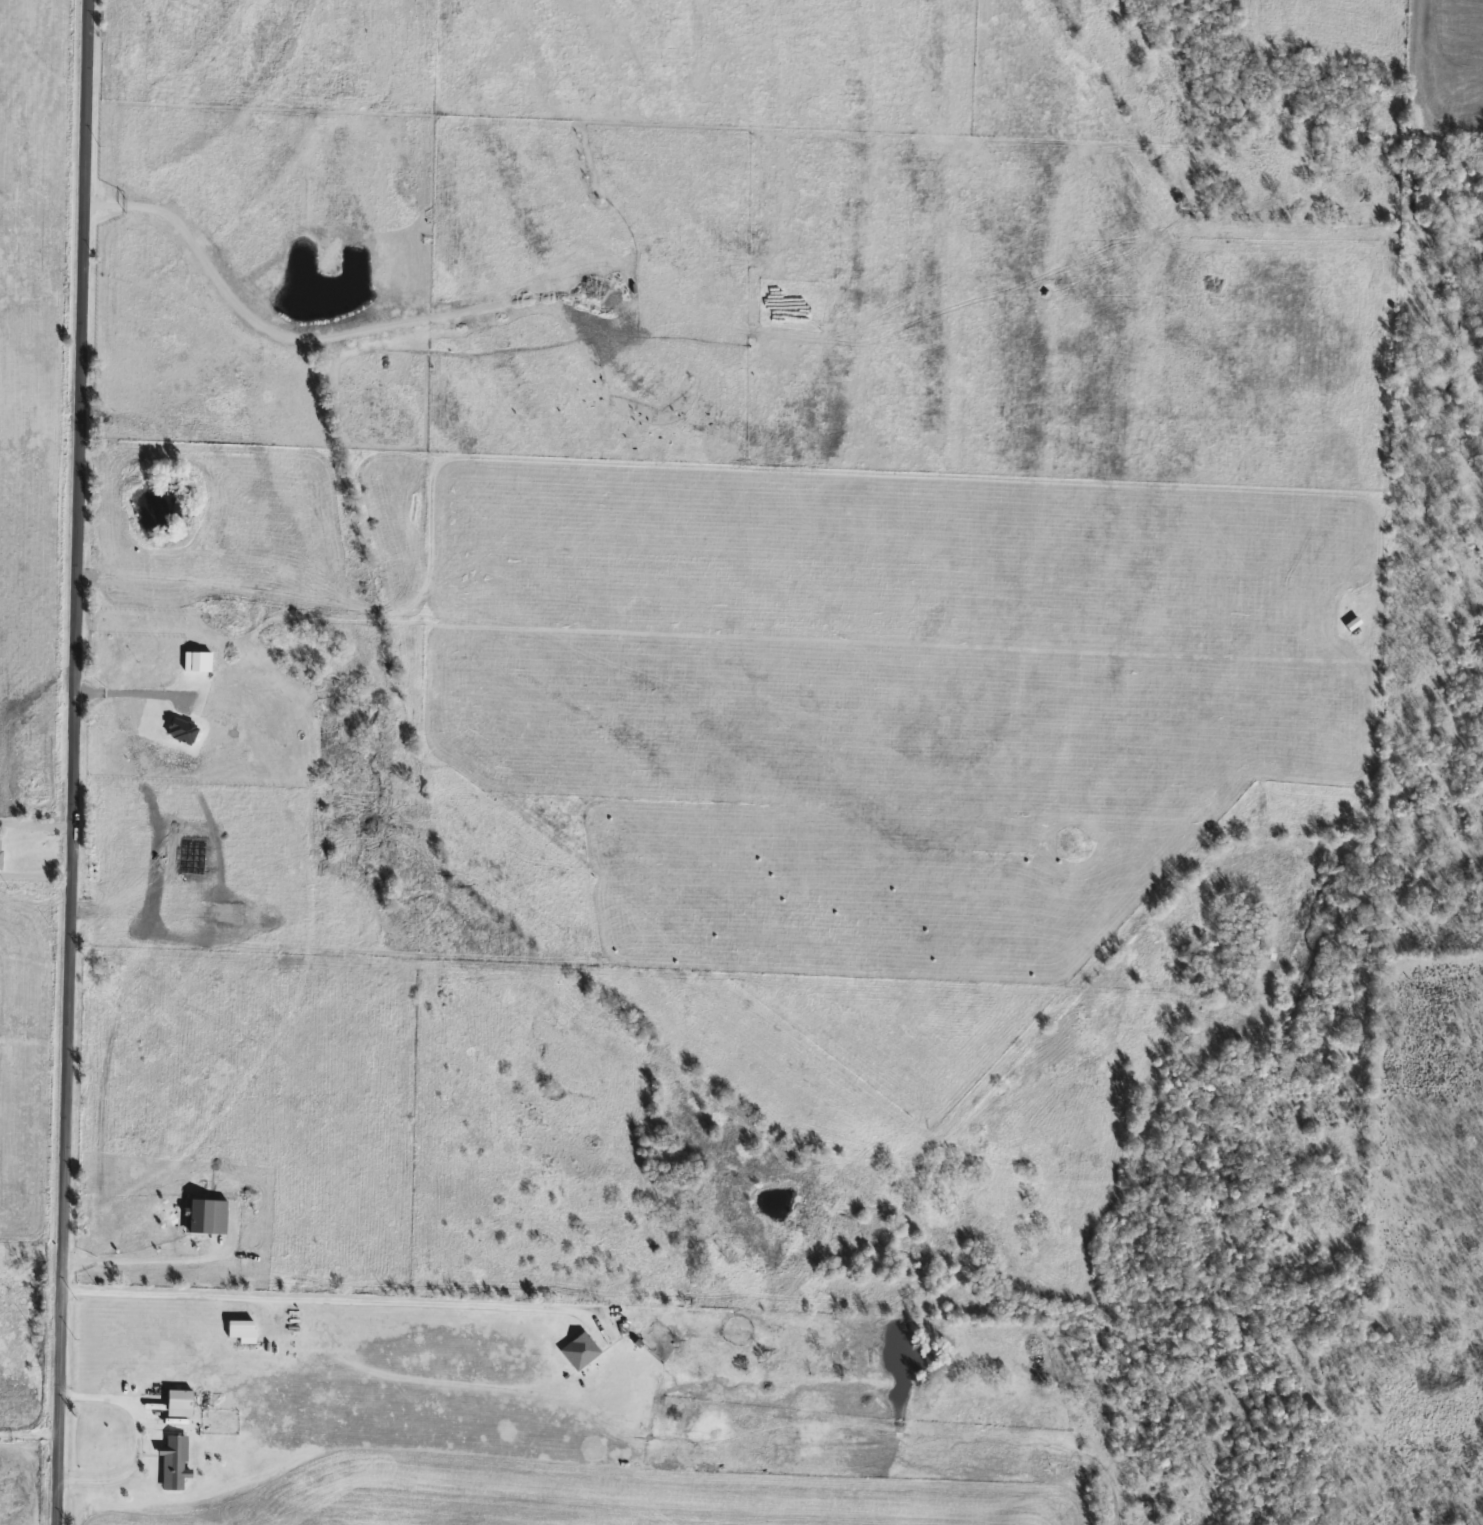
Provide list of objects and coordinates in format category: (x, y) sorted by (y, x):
road: (132, 697)
road: (72, 762)
road: (36, 826)
building: (0, 848)
road: (35, 878)
road: (315, 1300)
building: (240, 1330)
building: (579, 1350)
building: (178, 1402)
road: (29, 1436)
road: (137, 1439)
building: (173, 1462)

